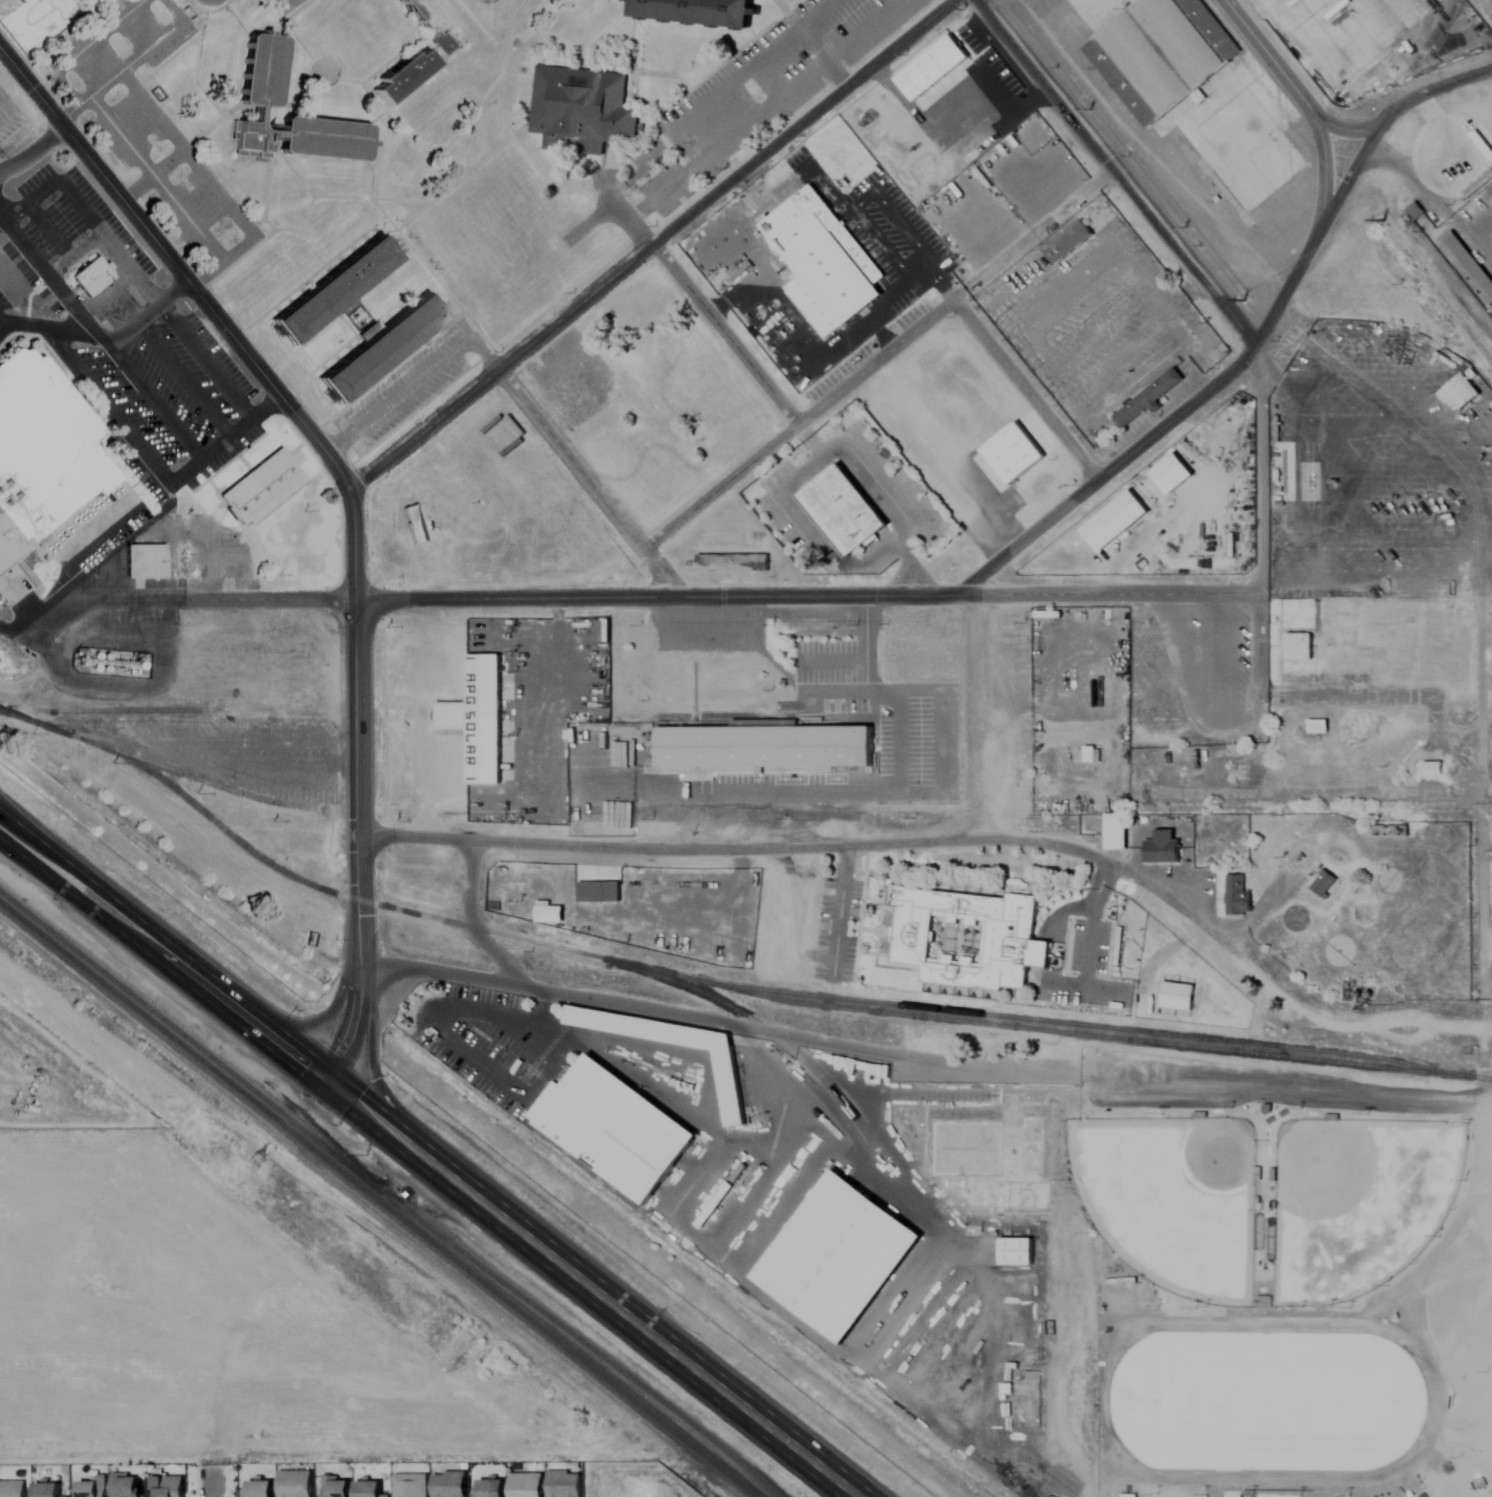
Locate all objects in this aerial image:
building: (21, 1)
road: (204, 2)
road: (216, 2)
road: (993, 6)
building: (699, 12)
building: (430, 22)
road: (857, 28)
road: (808, 41)
building: (1158, 55)
building: (261, 71)
building: (403, 76)
road: (1397, 105)
road: (1306, 106)
road: (758, 110)
building: (580, 111)
road: (75, 112)
road: (676, 127)
building: (253, 137)
building: (326, 139)
road: (123, 141)
road: (33, 152)
road: (1115, 172)
building: (1478, 182)
building: (1489, 190)
road: (137, 191)
road: (1430, 203)
building: (1412, 211)
road: (4, 214)
building: (1067, 240)
road: (651, 246)
building: (826, 254)
building: (1468, 262)
road: (176, 269)
building: (91, 278)
building: (336, 288)
road: (69, 297)
building: (815, 307)
road: (136, 317)
road: (724, 335)
building: (381, 348)
road: (206, 356)
road: (413, 377)
road: (1024, 390)
building: (1149, 394)
road: (1205, 394)
building: (1457, 396)
road: (155, 397)
road: (108, 403)
road: (796, 425)
road: (225, 437)
building: (41, 451)
road: (1257, 469)
road: (588, 484)
building: (262, 486)
building: (843, 510)
building: (143, 559)
building: (734, 559)
road: (97, 560)
road: (624, 598)
road: (708, 628)
building: (927, 638)
building: (1298, 646)
road: (1257, 647)
road: (799, 684)
road: (1184, 689)
road: (984, 721)
building: (1316, 726)
building: (765, 747)
building: (1432, 768)
road: (941, 772)
railway: (196, 779)
road: (354, 790)
building: (1391, 831)
building: (1114, 832)
road: (947, 844)
building: (1162, 848)
road: (95, 882)
building: (1323, 883)
building: (598, 892)
building: (1234, 895)
road: (88, 905)
road: (1091, 920)
road: (469, 923)
building: (965, 940)
railway: (718, 986)
road: (626, 1003)
railway: (733, 1006)
road: (253, 1023)
railway: (1069, 1023)
road: (461, 1046)
road: (1487, 1052)
traffic signals: (324, 1080)
building: (729, 1084)
building: (1220, 1107)
building: (615, 1125)
building: (991, 1158)
power tower: (260, 1159)
building: (722, 1196)
railway: (387, 1197)
park: (1169, 1198)
railway: (377, 1200)
park: (1357, 1200)
building: (1014, 1250)
building: (837, 1257)
road: (590, 1288)
building: (1030, 1401)
road: (211, 1483)
building: (296, 1484)
building: (128, 1485)
building: (168, 1486)
building: (94, 1487)
building: (337, 1487)
building: (13, 1488)
building: (261, 1488)
building: (50, 1490)

